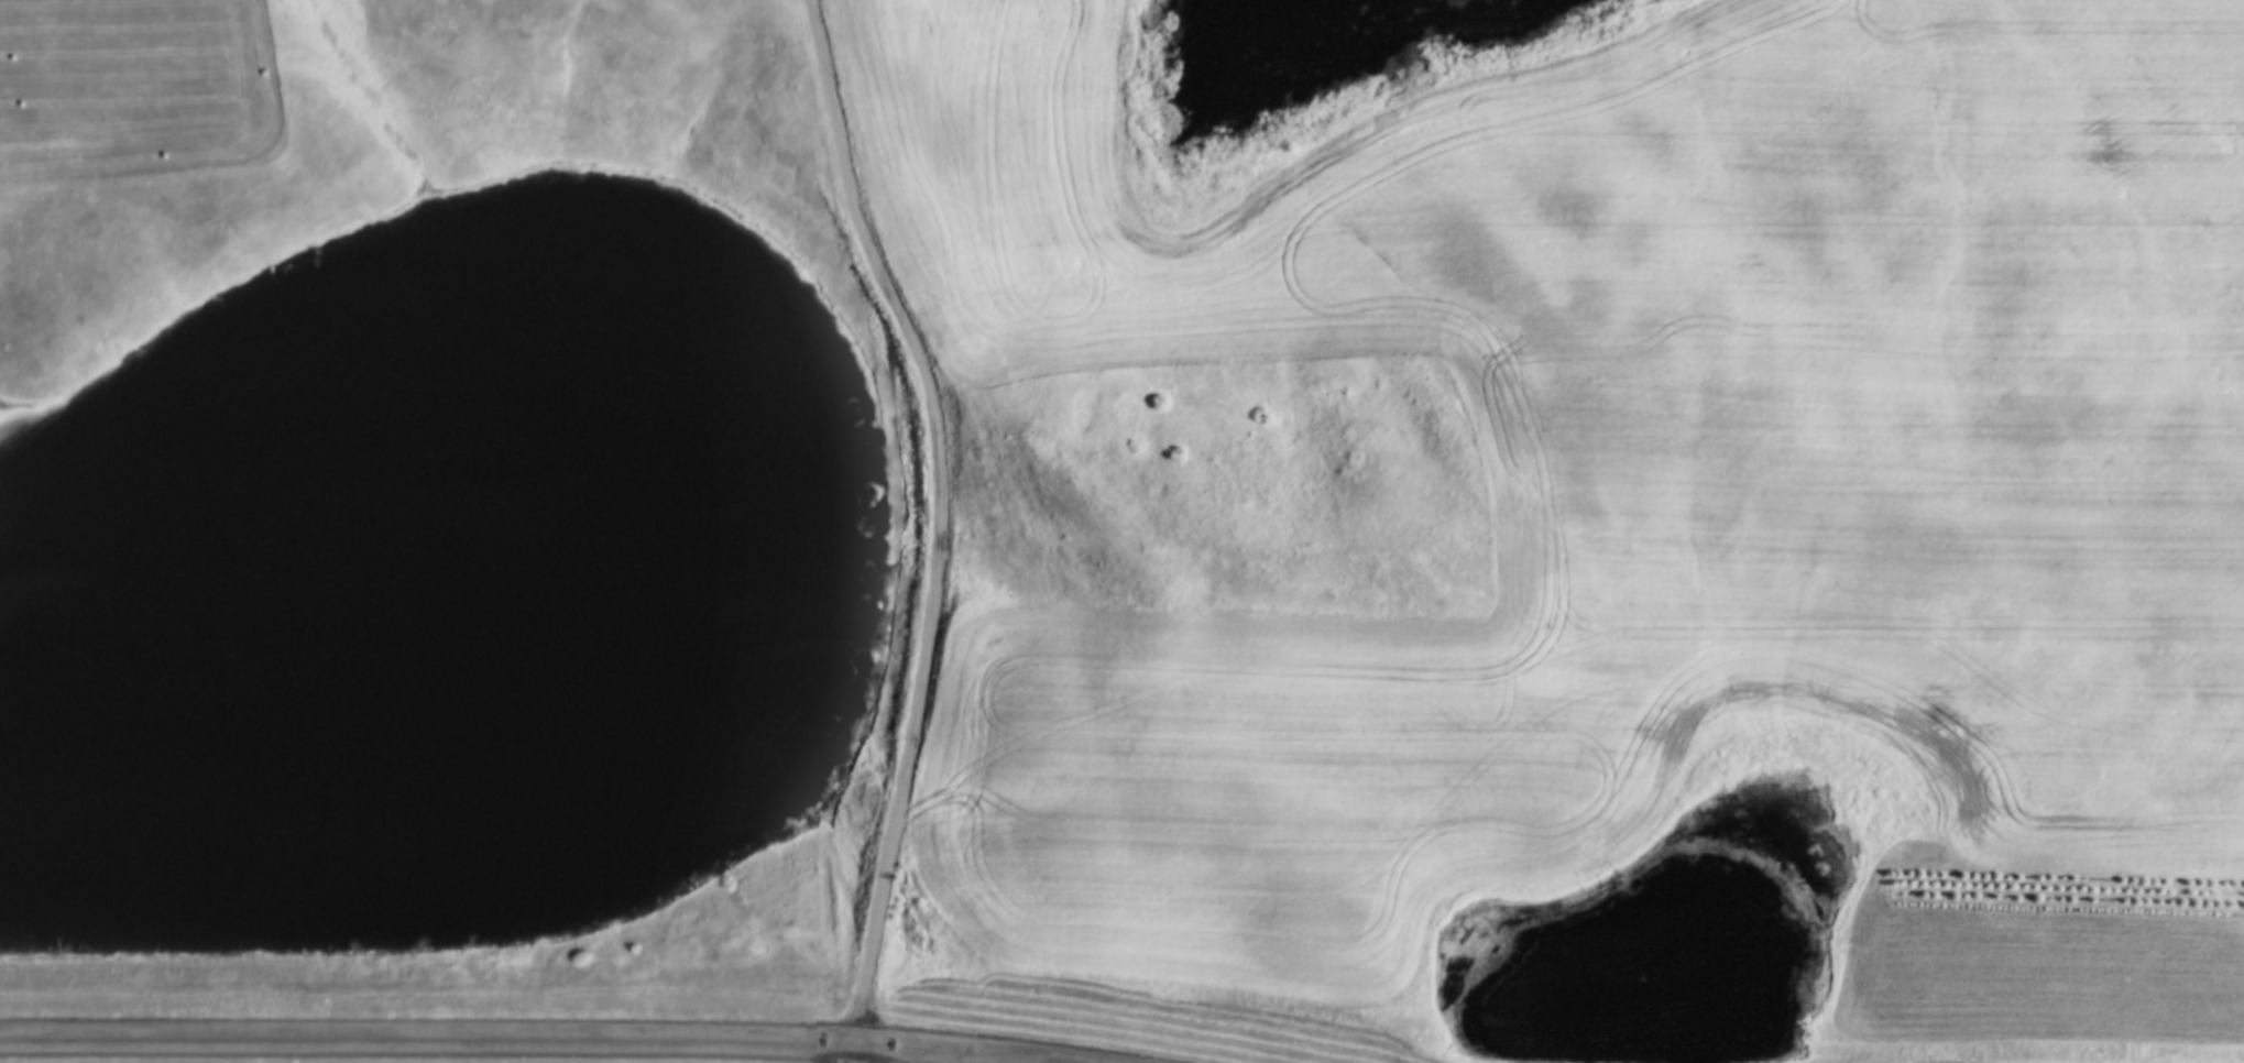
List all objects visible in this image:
road: (938, 518)
road: (530, 1048)
road: (862, 1056)

